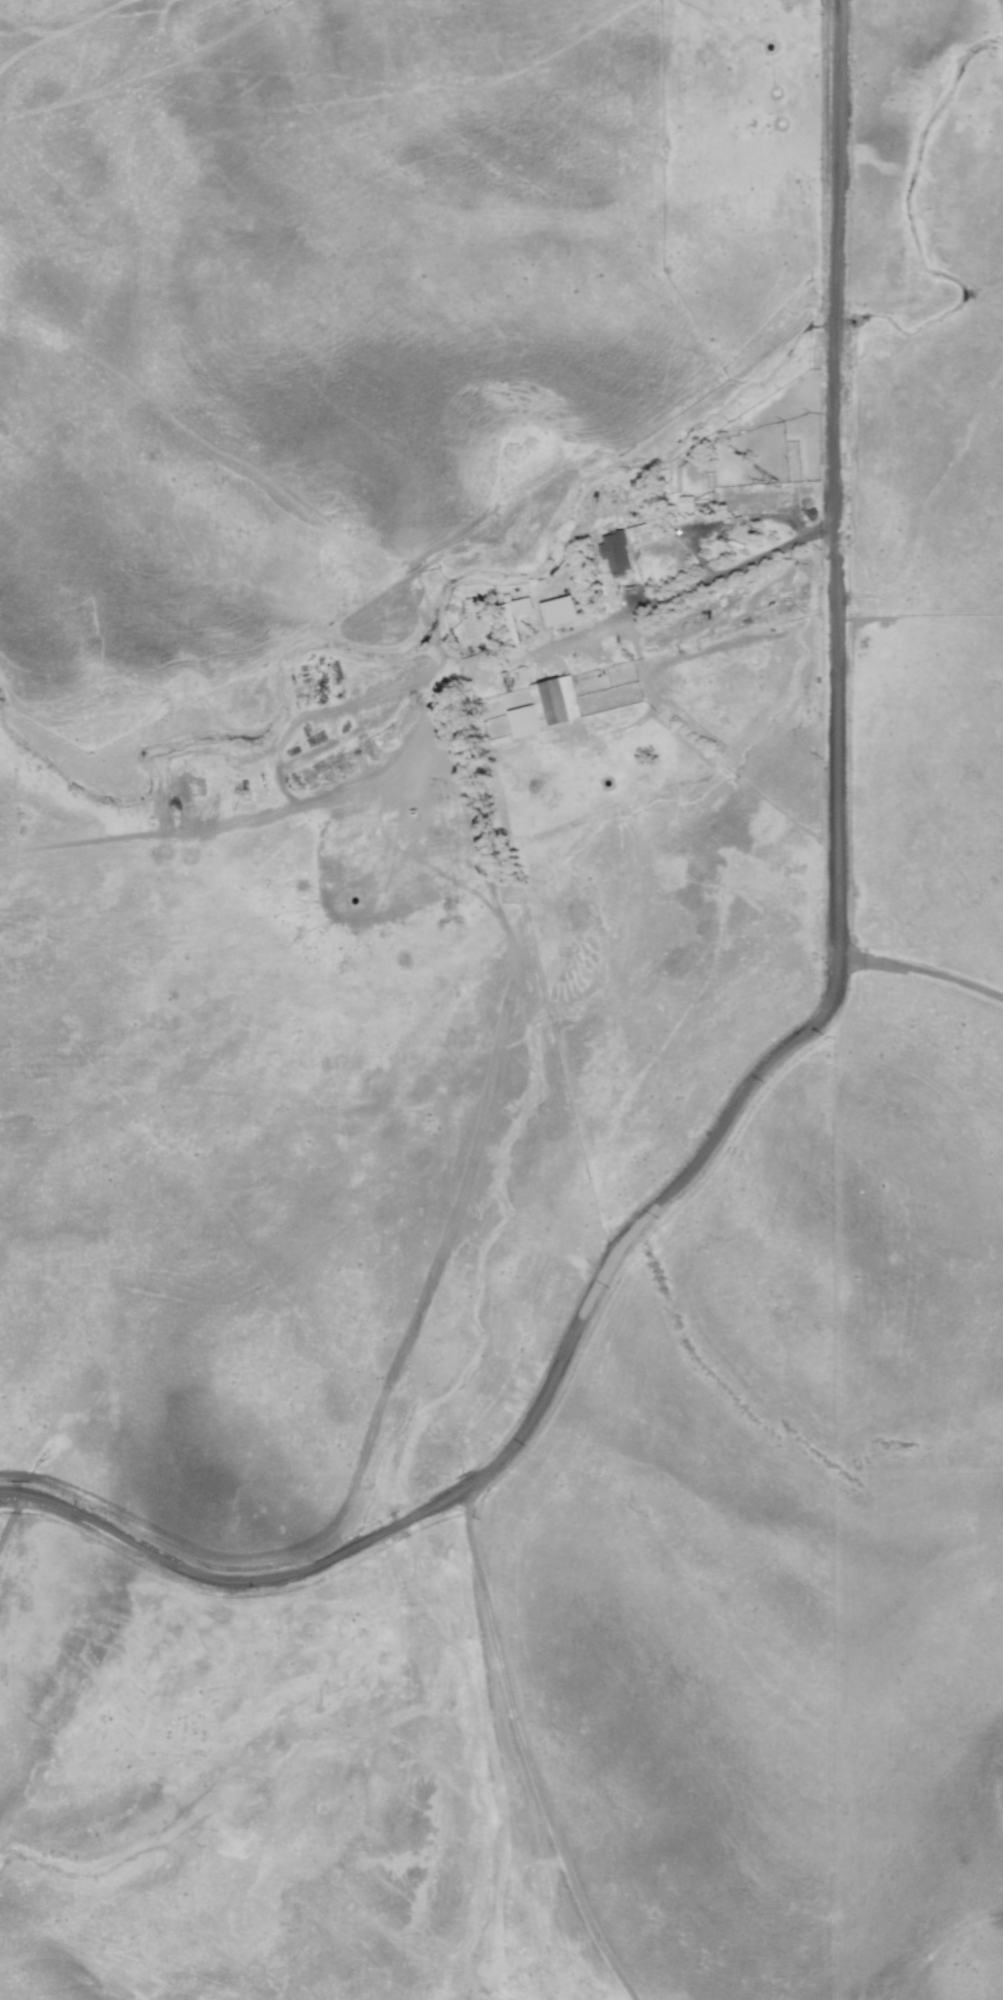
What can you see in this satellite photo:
building: (624, 541)
road: (695, 581)
building: (555, 610)
building: (553, 700)
road: (920, 976)
road: (792, 1042)

